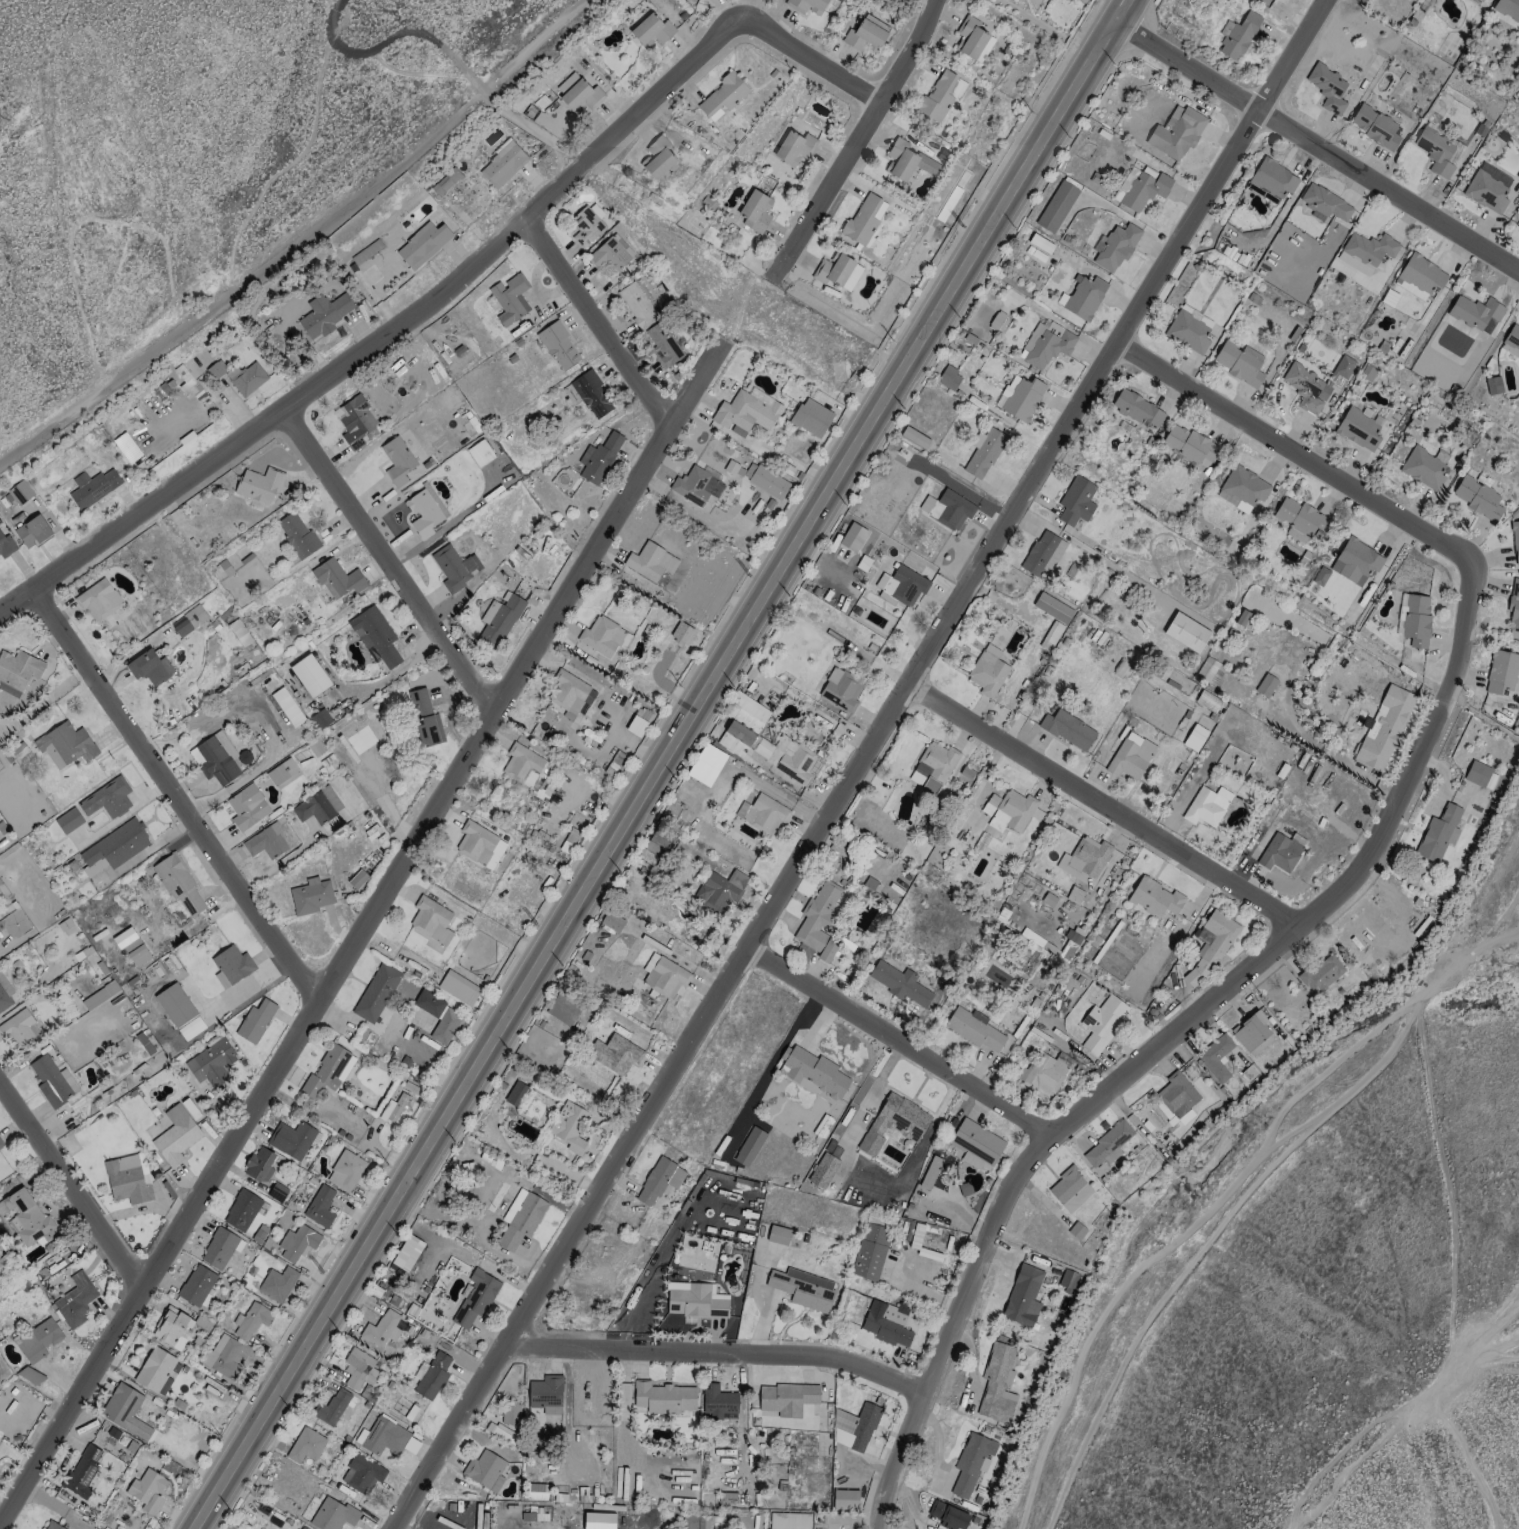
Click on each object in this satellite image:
building: (806, 5)
building: (1508, 8)
road: (1030, 17)
building: (651, 30)
building: (866, 33)
building: (1237, 35)
road: (396, 39)
building: (972, 39)
road: (688, 63)
building: (567, 83)
building: (1328, 88)
building: (723, 95)
building: (581, 96)
building: (941, 96)
building: (1374, 126)
road: (536, 131)
building: (1176, 132)
road: (859, 135)
road: (1318, 145)
building: (794, 147)
building: (1435, 151)
building: (658, 158)
building: (907, 161)
building: (502, 164)
building: (1517, 175)
building: (1273, 178)
building: (446, 181)
building: (1141, 188)
building: (1488, 188)
building: (1325, 204)
building: (1057, 206)
building: (755, 211)
building: (862, 219)
building: (587, 224)
building: (1518, 227)
road: (1183, 235)
building: (1040, 243)
building: (422, 244)
building: (1117, 246)
building: (610, 253)
building: (837, 271)
building: (1419, 276)
road: (247, 290)
building: (1084, 297)
building: (510, 298)
building: (636, 304)
building: (325, 313)
building: (1476, 313)
building: (1196, 315)
road: (595, 321)
building: (1188, 332)
building: (1511, 340)
building: (663, 343)
building: (1045, 343)
building: (558, 345)
building: (1240, 363)
building: (216, 369)
building: (248, 378)
building: (949, 378)
building: (1314, 383)
building: (1493, 385)
building: (591, 393)
building: (1020, 397)
building: (1137, 408)
building: (746, 411)
building: (811, 417)
road: (264, 423)
building: (358, 423)
building: (1358, 429)
building: (914, 437)
building: (1189, 445)
road: (1292, 451)
building: (983, 452)
building: (480, 453)
building: (599, 458)
building: (397, 460)
building: (766, 480)
building: (259, 484)
building: (1245, 485)
building: (696, 486)
building: (93, 487)
building: (19, 492)
building: (1478, 498)
building: (1076, 501)
building: (947, 508)
building: (424, 512)
building: (1300, 519)
building: (33, 531)
building: (298, 535)
building: (853, 537)
building: (1515, 541)
building: (1042, 554)
road: (388, 560)
building: (1356, 561)
building: (650, 562)
building: (455, 566)
building: (337, 578)
building: (98, 600)
building: (1514, 603)
building: (1242, 617)
building: (189, 620)
building: (498, 620)
building: (1416, 620)
building: (1053, 632)
building: (1186, 632)
building: (375, 635)
building: (603, 636)
building: (149, 667)
building: (18, 671)
building: (988, 671)
building: (1209, 671)
building: (1501, 672)
building: (310, 675)
building: (1267, 683)
building: (841, 689)
building: (569, 690)
building: (746, 712)
building: (320, 719)
building: (424, 719)
building: (1384, 727)
building: (1068, 729)
building: (1195, 737)
building: (65, 745)
building: (763, 748)
building: (1130, 756)
building: (215, 758)
building: (792, 759)
building: (521, 762)
building: (932, 767)
road: (671, 769)
building: (283, 773)
building: (1477, 773)
road: (173, 797)
building: (108, 798)
road: (1099, 805)
building: (318, 806)
building: (1207, 806)
building: (247, 807)
building: (1007, 811)
building: (762, 813)
building: (68, 820)
building: (1439, 833)
building: (474, 840)
building: (568, 840)
building: (266, 842)
building: (657, 842)
building: (114, 847)
building: (1279, 852)
building: (1085, 858)
road: (283, 859)
building: (357, 879)
building: (178, 884)
building: (720, 890)
building: (1074, 895)
building: (311, 896)
building: (1155, 897)
building: (429, 916)
building: (820, 920)
building: (612, 921)
road: (360, 931)
building: (1210, 946)
building: (131, 947)
building: (233, 964)
building: (1321, 973)
building: (666, 977)
building: (900, 983)
building: (458, 987)
building: (376, 992)
building: (4, 993)
road: (713, 997)
building: (429, 1003)
building: (175, 1004)
building: (563, 1010)
building: (255, 1020)
building: (1102, 1023)
building: (445, 1026)
building: (18, 1029)
building: (974, 1029)
building: (1250, 1030)
road: (1168, 1039)
road: (894, 1041)
building: (619, 1051)
building: (1216, 1056)
building: (211, 1063)
building: (814, 1071)
building: (329, 1072)
building: (1045, 1074)
building: (52, 1080)
building: (516, 1093)
building: (1177, 1094)
building: (393, 1108)
building: (894, 1122)
building: (569, 1128)
building: (176, 1135)
building: (291, 1139)
building: (1, 1144)
building: (976, 1145)
building: (1107, 1145)
building: (749, 1146)
building: (259, 1164)
building: (825, 1165)
building: (345, 1171)
building: (931, 1172)
building: (469, 1174)
building: (126, 1180)
building: (659, 1180)
road: (71, 1185)
building: (1070, 1189)
building: (320, 1207)
building: (242, 1210)
building: (26, 1218)
building: (521, 1218)
building: (778, 1235)
building: (298, 1245)
building: (219, 1248)
building: (870, 1251)
building: (407, 1252)
building: (1067, 1280)
building: (277, 1283)
building: (196, 1285)
building: (803, 1288)
building: (1023, 1296)
building: (476, 1298)
building: (75, 1300)
building: (695, 1300)
building: (253, 1320)
building: (887, 1322)
building: (169, 1325)
building: (380, 1329)
building: (38, 1340)
road: (1469, 1340)
road: (718, 1350)
building: (228, 1355)
road: (1488, 1359)
building: (154, 1369)
building: (358, 1369)
building: (997, 1384)
building: (546, 1394)
building: (664, 1397)
building: (786, 1398)
building: (718, 1401)
building: (331, 1407)
building: (126, 1411)
building: (510, 1414)
building: (855, 1427)
building: (499, 1431)
building: (384, 1437)
building: (306, 1445)
building: (972, 1463)
building: (83, 1470)
building: (485, 1470)
building: (362, 1473)
building: (148, 1491)
building: (845, 1499)
building: (333, 1514)
building: (949, 1515)
building: (598, 1520)
building: (790, 1520)
building: (702, 1522)
building: (52, 1525)
road: (195, 1528)

